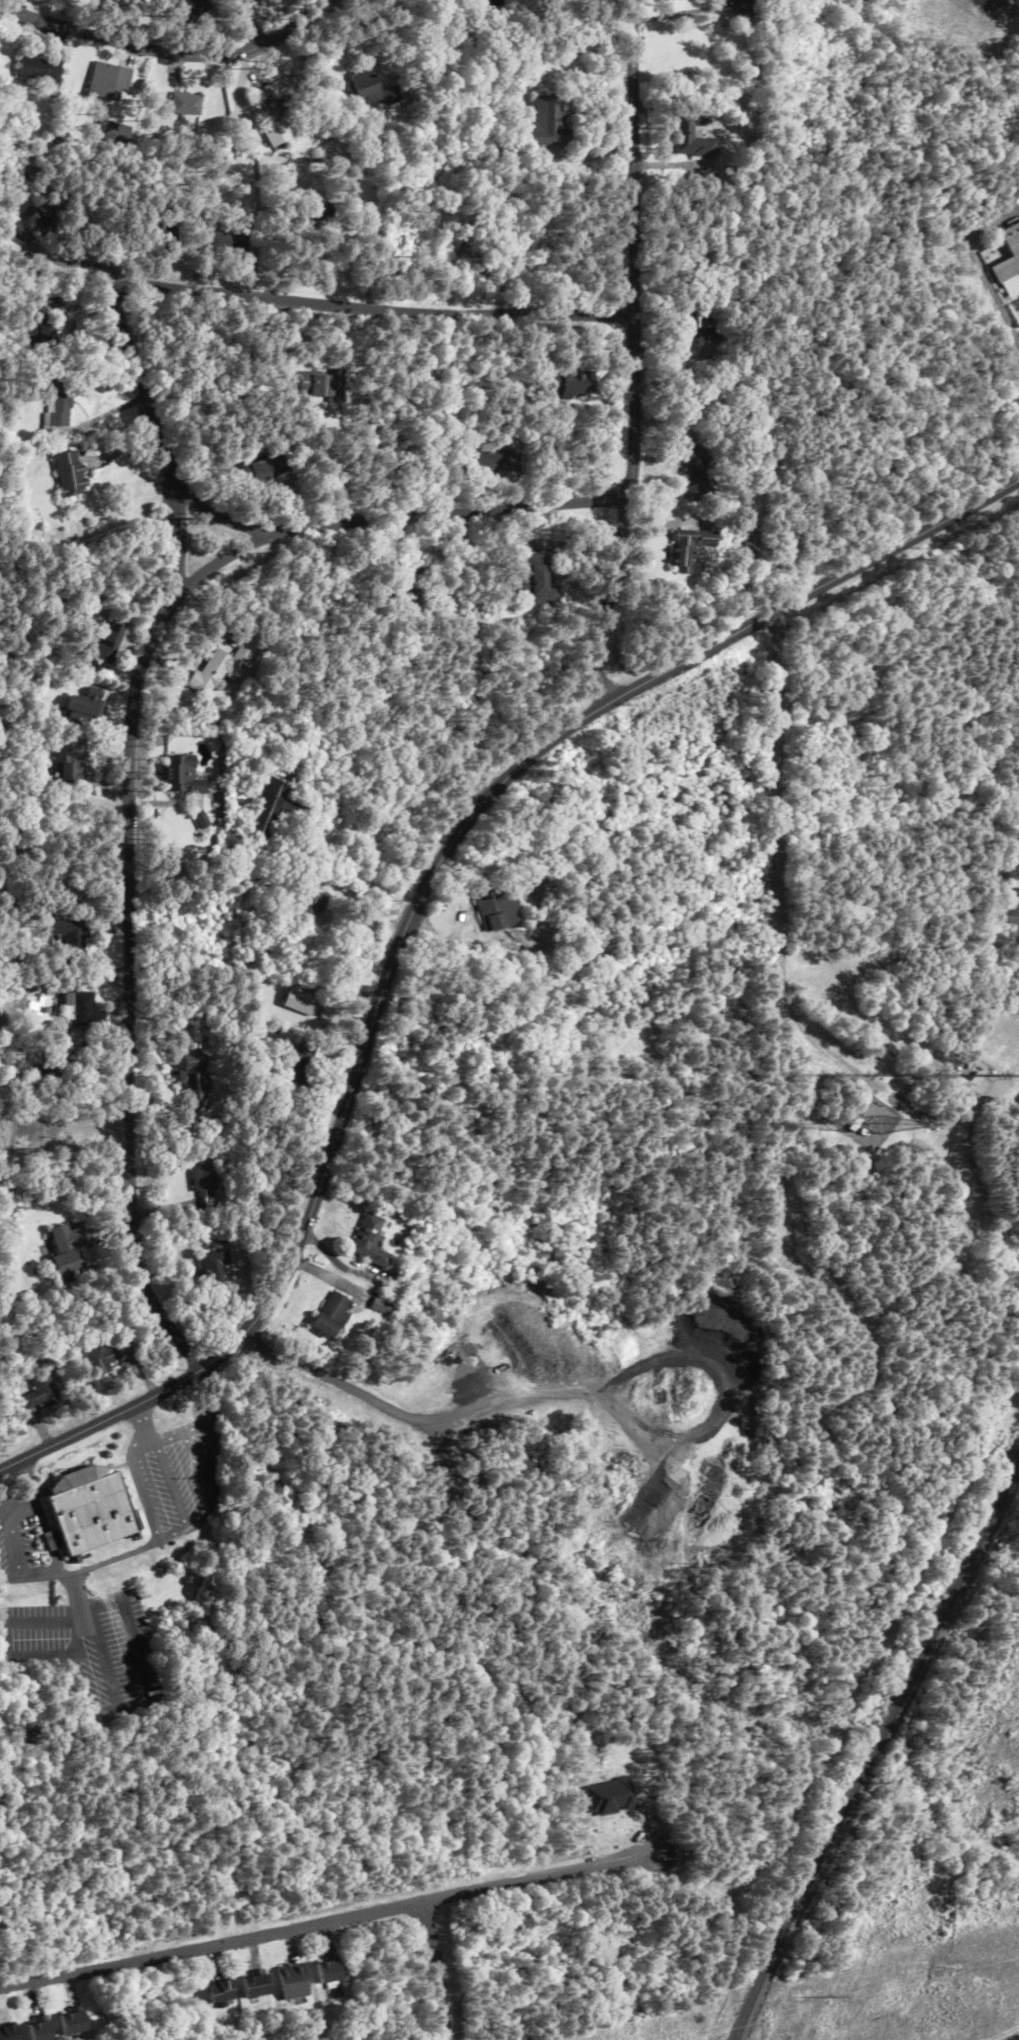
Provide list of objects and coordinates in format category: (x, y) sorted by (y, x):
building: (265, 1)
building: (191, 10)
road: (250, 23)
road: (168, 53)
building: (40, 71)
building: (109, 82)
building: (371, 89)
building: (273, 90)
building: (189, 104)
building: (545, 120)
building: (279, 133)
building: (119, 134)
building: (693, 137)
building: (316, 214)
building: (35, 222)
building: (160, 234)
building: (226, 242)
road: (84, 262)
building: (1011, 262)
road: (979, 265)
road: (375, 301)
building: (694, 319)
building: (40, 329)
road: (633, 351)
building: (321, 384)
building: (568, 384)
building: (57, 405)
road: (161, 438)
building: (492, 457)
building: (692, 464)
building: (266, 469)
building: (71, 473)
road: (220, 516)
building: (753, 545)
building: (689, 548)
building: (541, 579)
building: (415, 592)
building: (108, 643)
building: (220, 670)
building: (85, 706)
road: (128, 748)
building: (67, 771)
building: (182, 775)
building: (276, 807)
building: (265, 880)
building: (312, 902)
road: (421, 905)
building: (501, 909)
building: (75, 939)
road: (774, 950)
building: (304, 999)
building: (82, 1008)
building: (302, 1061)
building: (197, 1079)
building: (207, 1188)
building: (373, 1242)
building: (64, 1251)
building: (218, 1269)
building: (382, 1306)
building: (335, 1317)
building: (96, 1357)
building: (39, 1392)
building: (88, 1509)
building: (50, 1541)
railway: (873, 1750)
road: (329, 1924)
building: (328, 1970)
road: (437, 1972)
building: (292, 1981)
building: (255, 1985)
building: (220, 1991)
building: (72, 2022)
building: (39, 2029)
building: (7, 2032)

